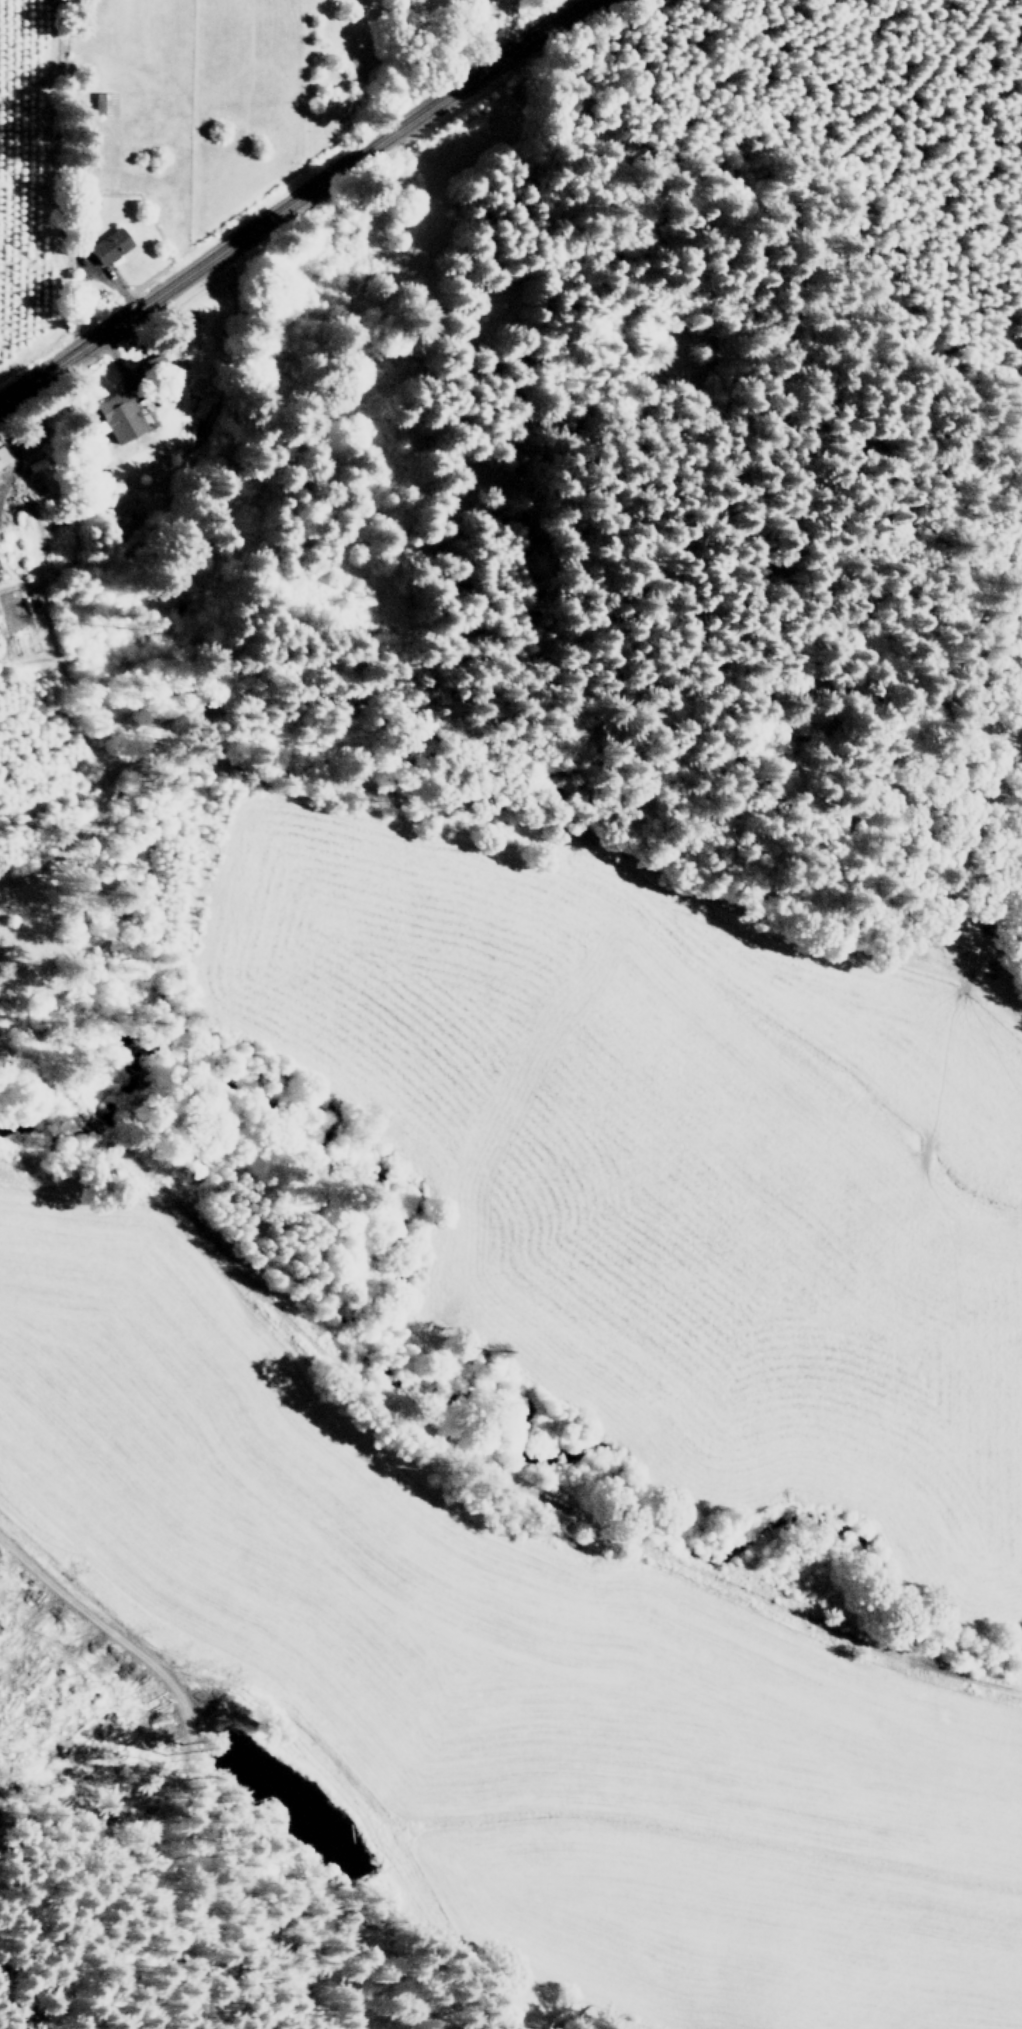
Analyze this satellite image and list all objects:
crop: (201, 182)
road: (294, 200)
building: (110, 245)
building: (150, 361)
building: (121, 416)
building: (3, 458)
railway: (8, 1054)
railway: (69, 1101)
crop: (663, 1171)
railway: (525, 1488)

